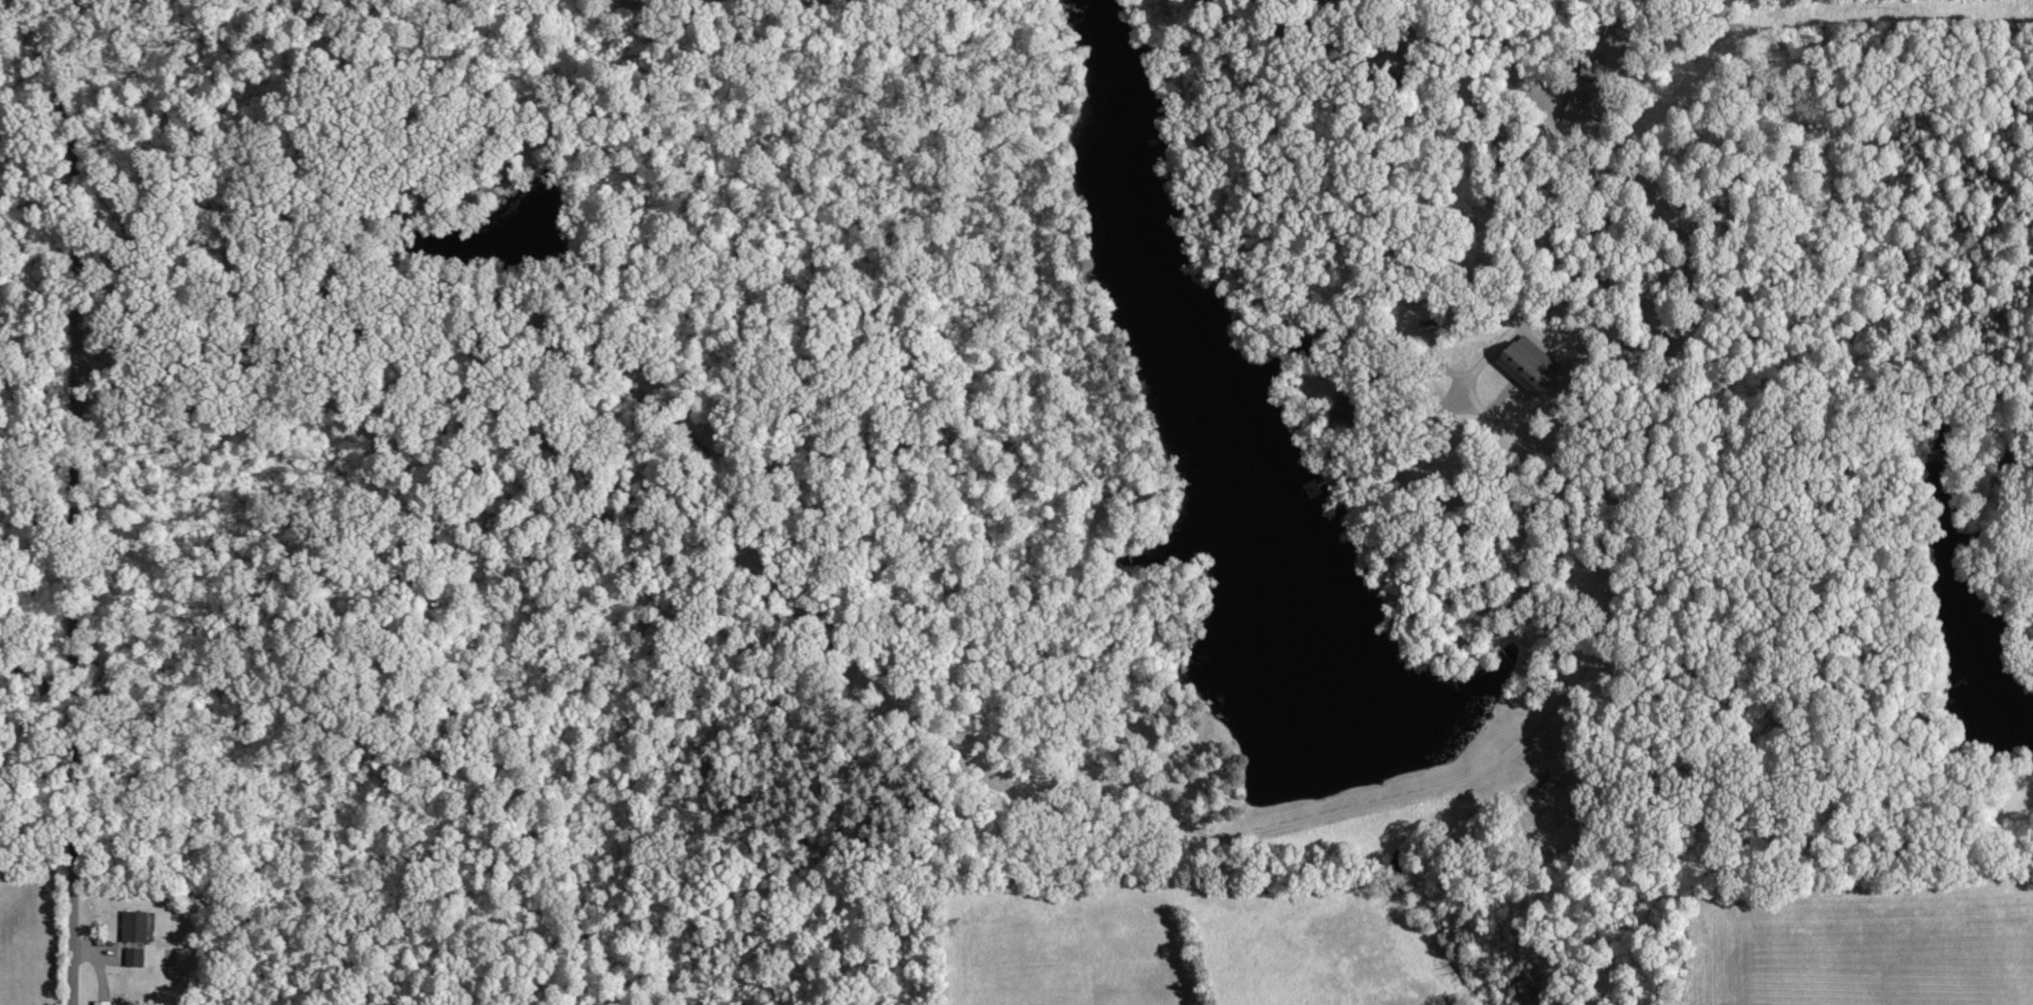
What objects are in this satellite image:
building: (1594, 68)
building: (1581, 107)
building: (1532, 366)
road: (73, 492)
dam: (1414, 797)
road: (1323, 814)
building: (137, 927)
building: (136, 957)
building: (104, 1003)

